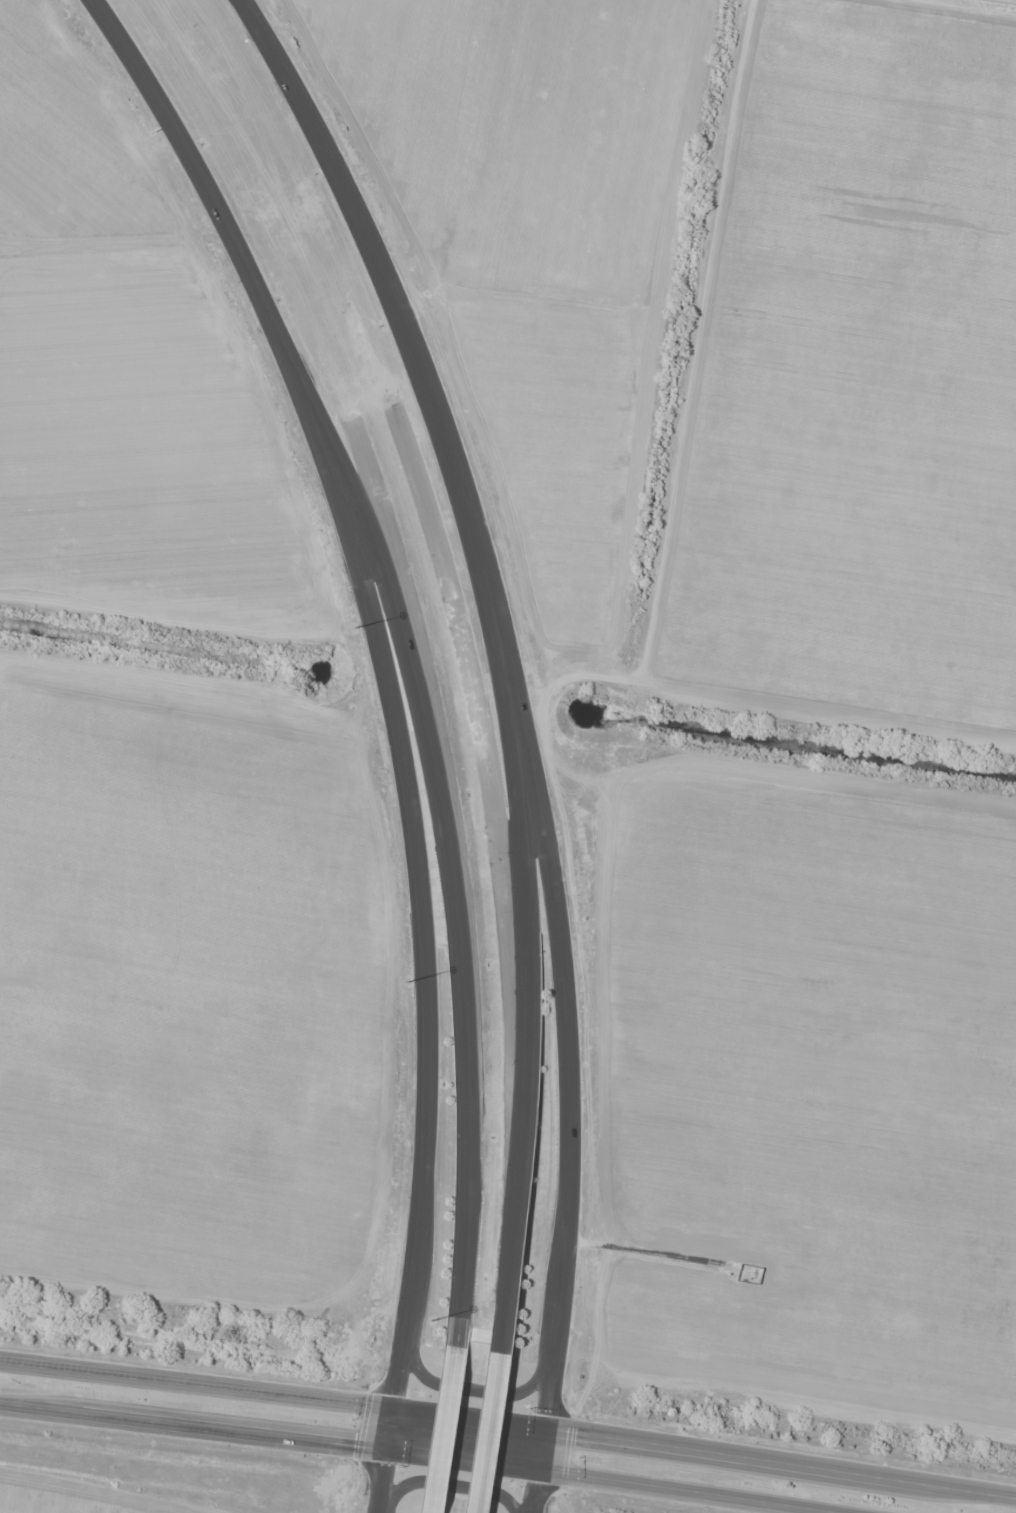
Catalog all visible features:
road: (744, 104)
road: (203, 186)
road: (349, 211)
road: (443, 822)
road: (521, 859)
road: (422, 941)
road: (561, 966)
road: (475, 1390)
road: (448, 1401)
road: (490, 1402)
traffic signals: (390, 1411)
road: (508, 1424)
traffic signals: (543, 1428)
traffic signals: (385, 1450)
road: (419, 1454)
traffic signals: (537, 1471)
road: (446, 1483)

